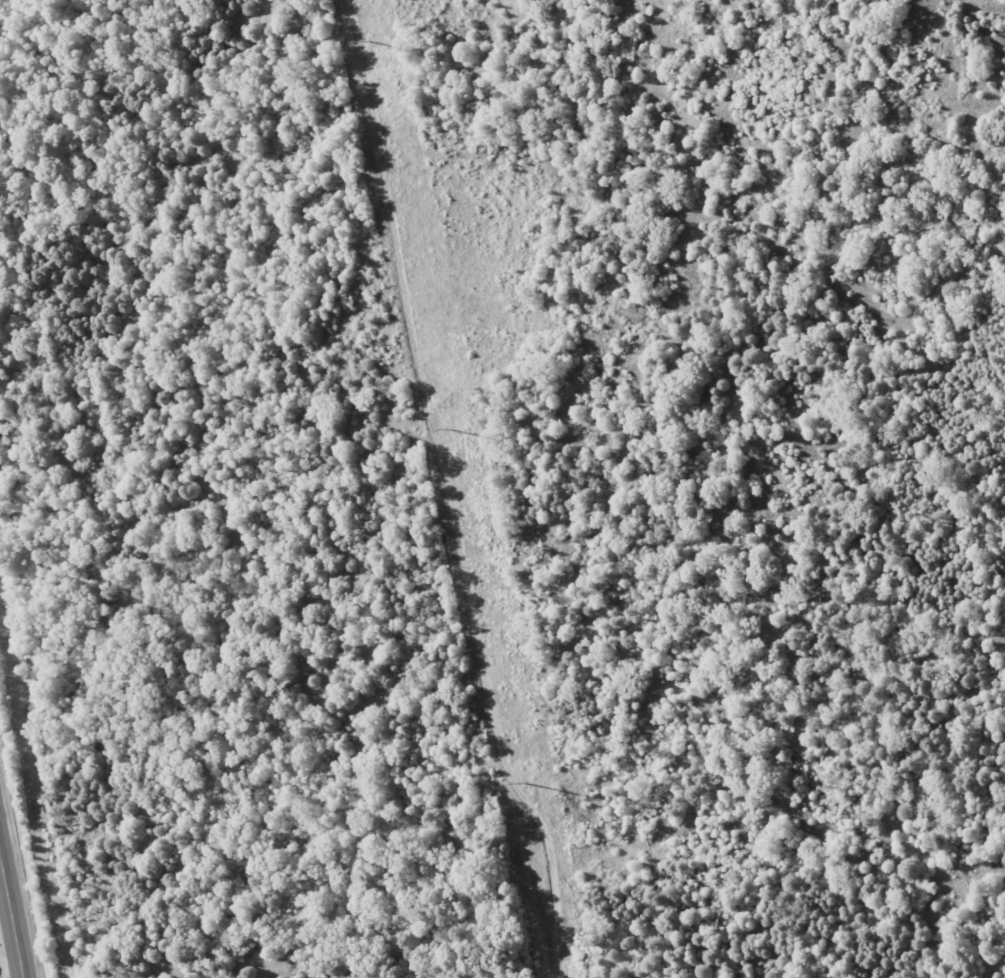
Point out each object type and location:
power tower: (367, 41)
power tower: (449, 430)
power tower: (523, 784)
road: (11, 916)

